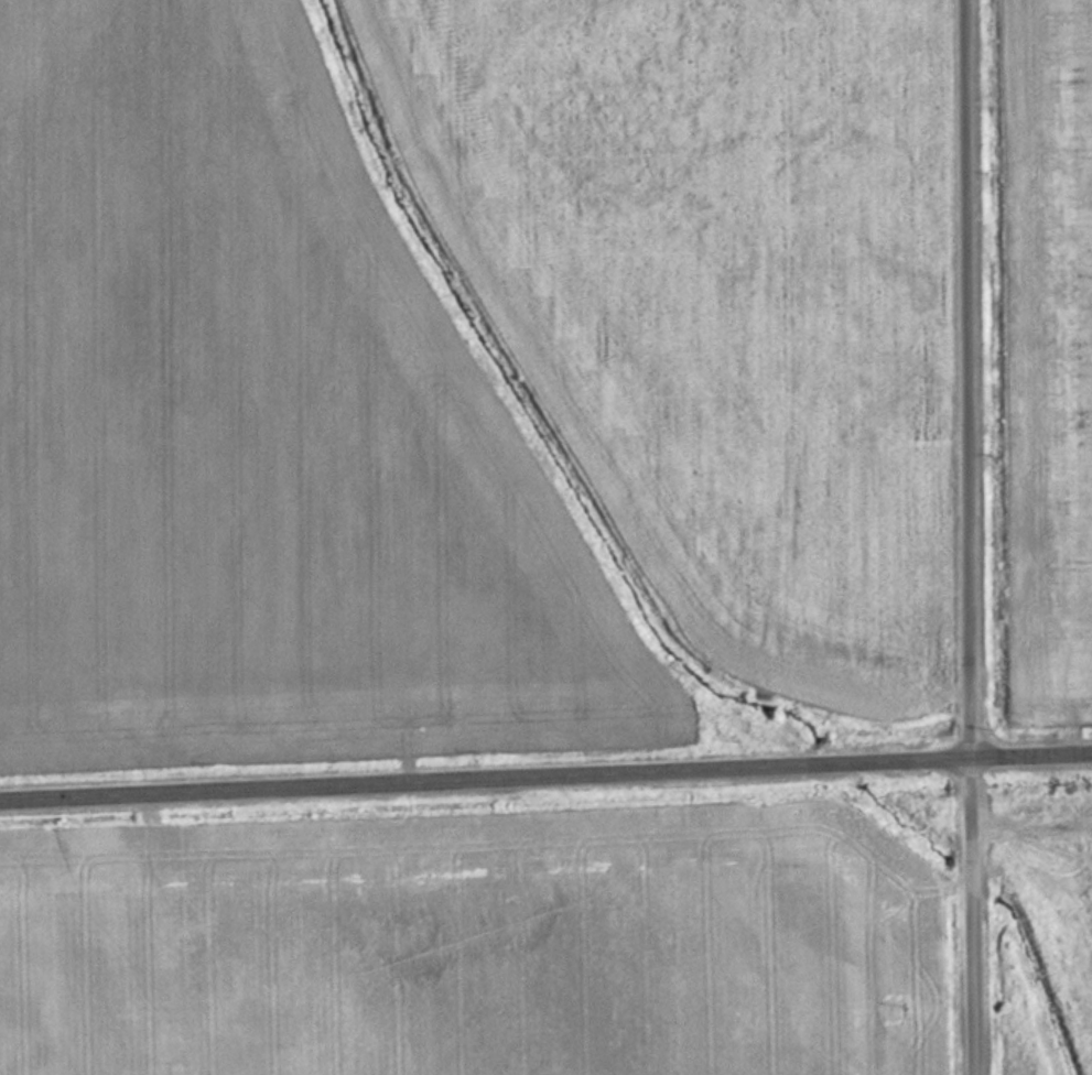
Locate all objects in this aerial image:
road: (975, 537)
road: (545, 778)

